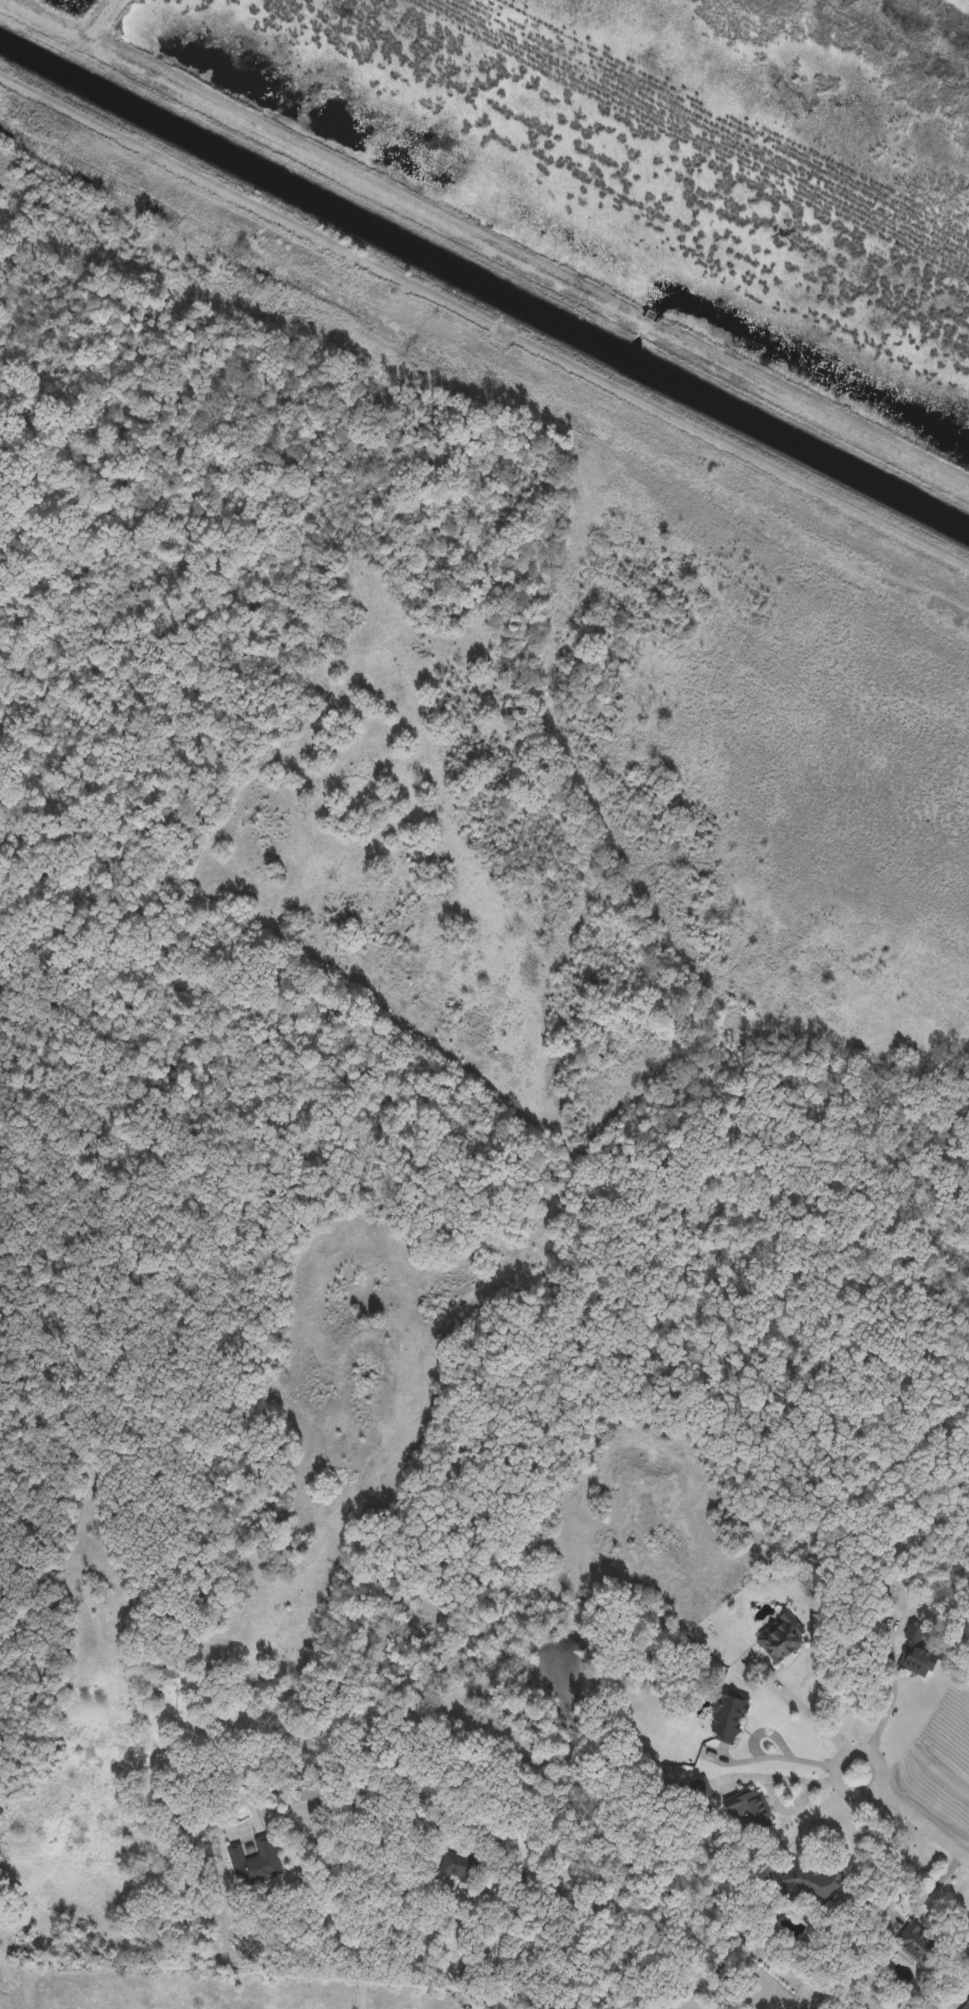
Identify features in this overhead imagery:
building: (782, 1636)
building: (915, 1653)
road: (891, 1696)
road: (811, 1712)
building: (726, 1717)
road: (785, 1756)
road: (839, 1756)
road: (881, 1766)
building: (309, 1786)
building: (705, 1790)
road: (854, 1797)
building: (750, 1809)
building: (495, 1824)
road: (923, 1826)
building: (525, 1843)
road: (881, 1857)
building: (256, 1860)
building: (460, 1868)
building: (812, 1878)
road: (330, 1899)
building: (918, 1944)
road: (386, 1952)
road: (483, 1999)
road: (959, 1999)
building: (966, 2005)

